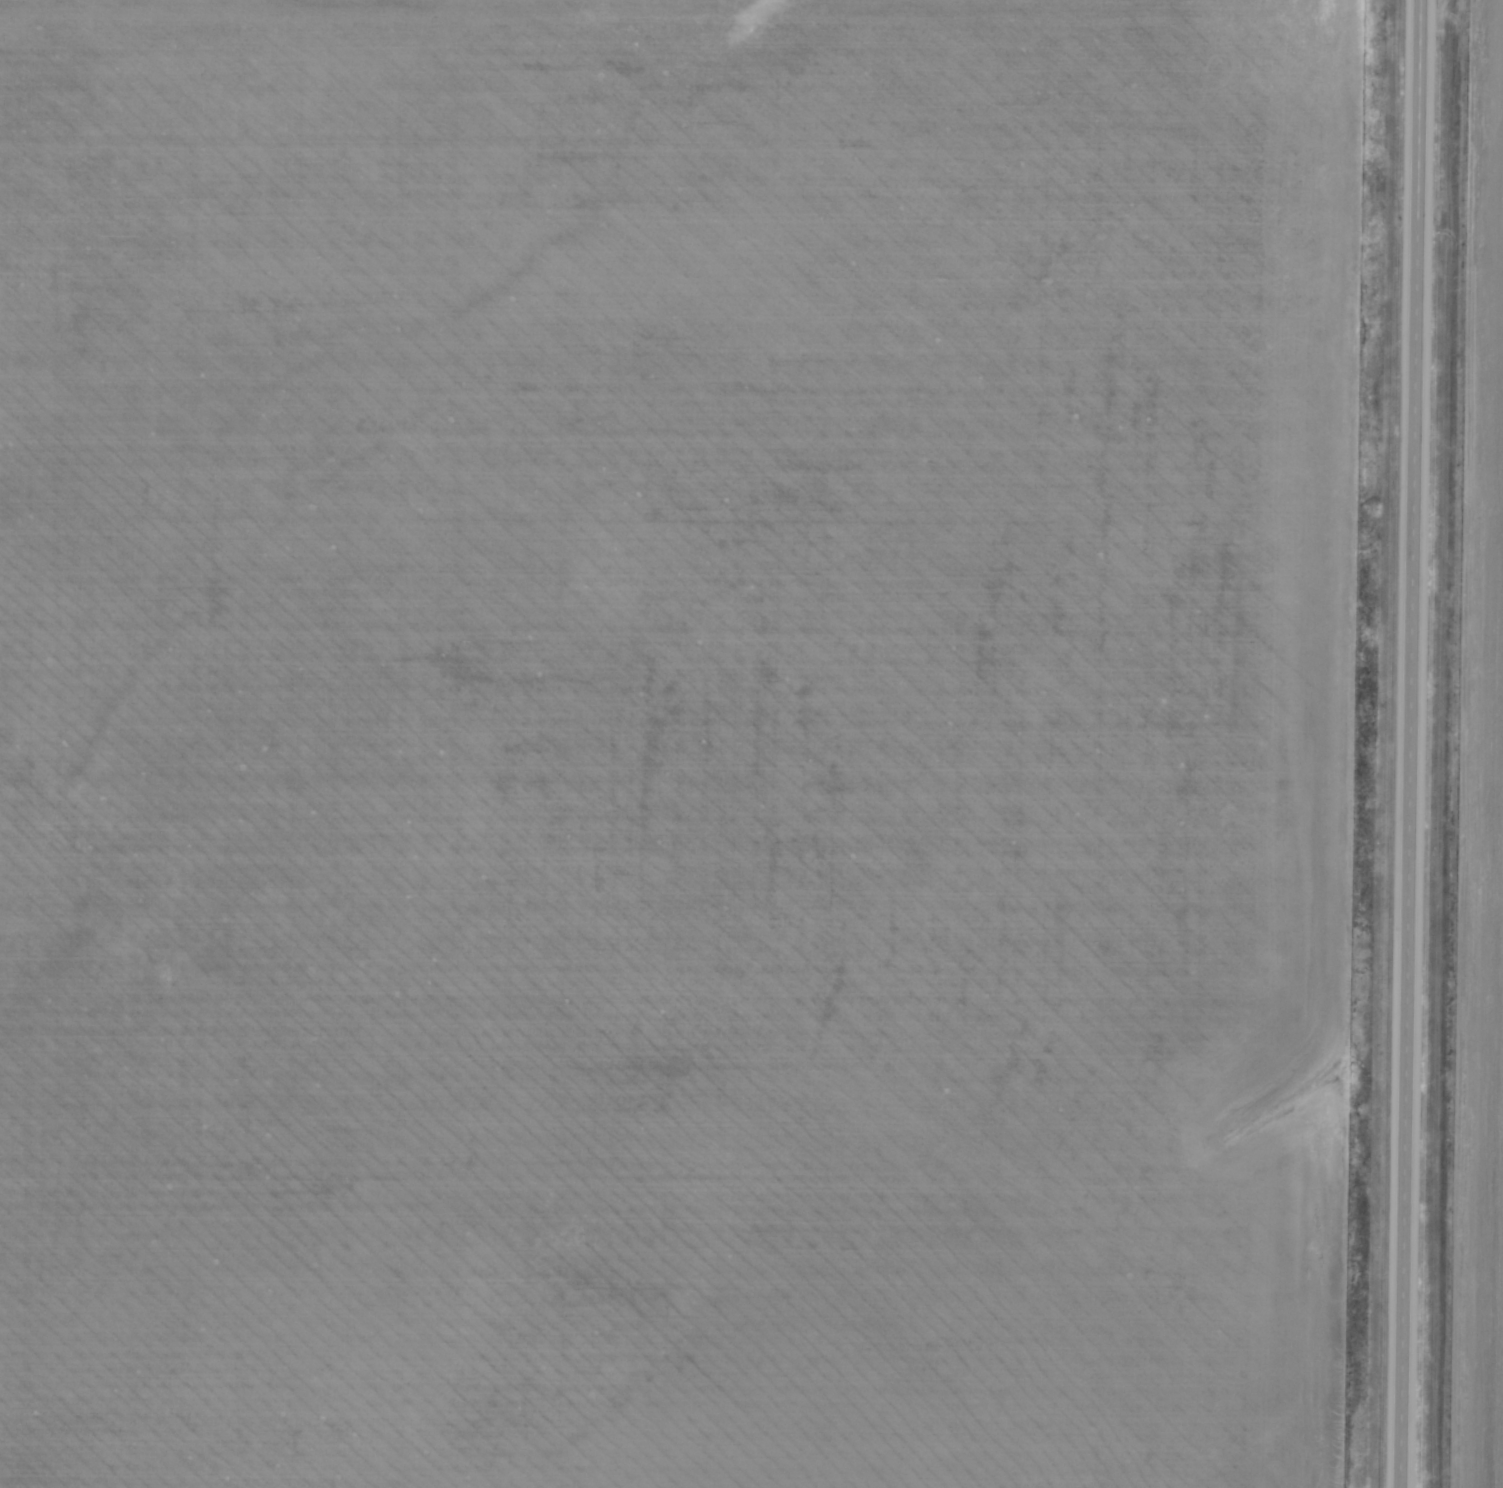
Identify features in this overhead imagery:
road: (1404, 743)

